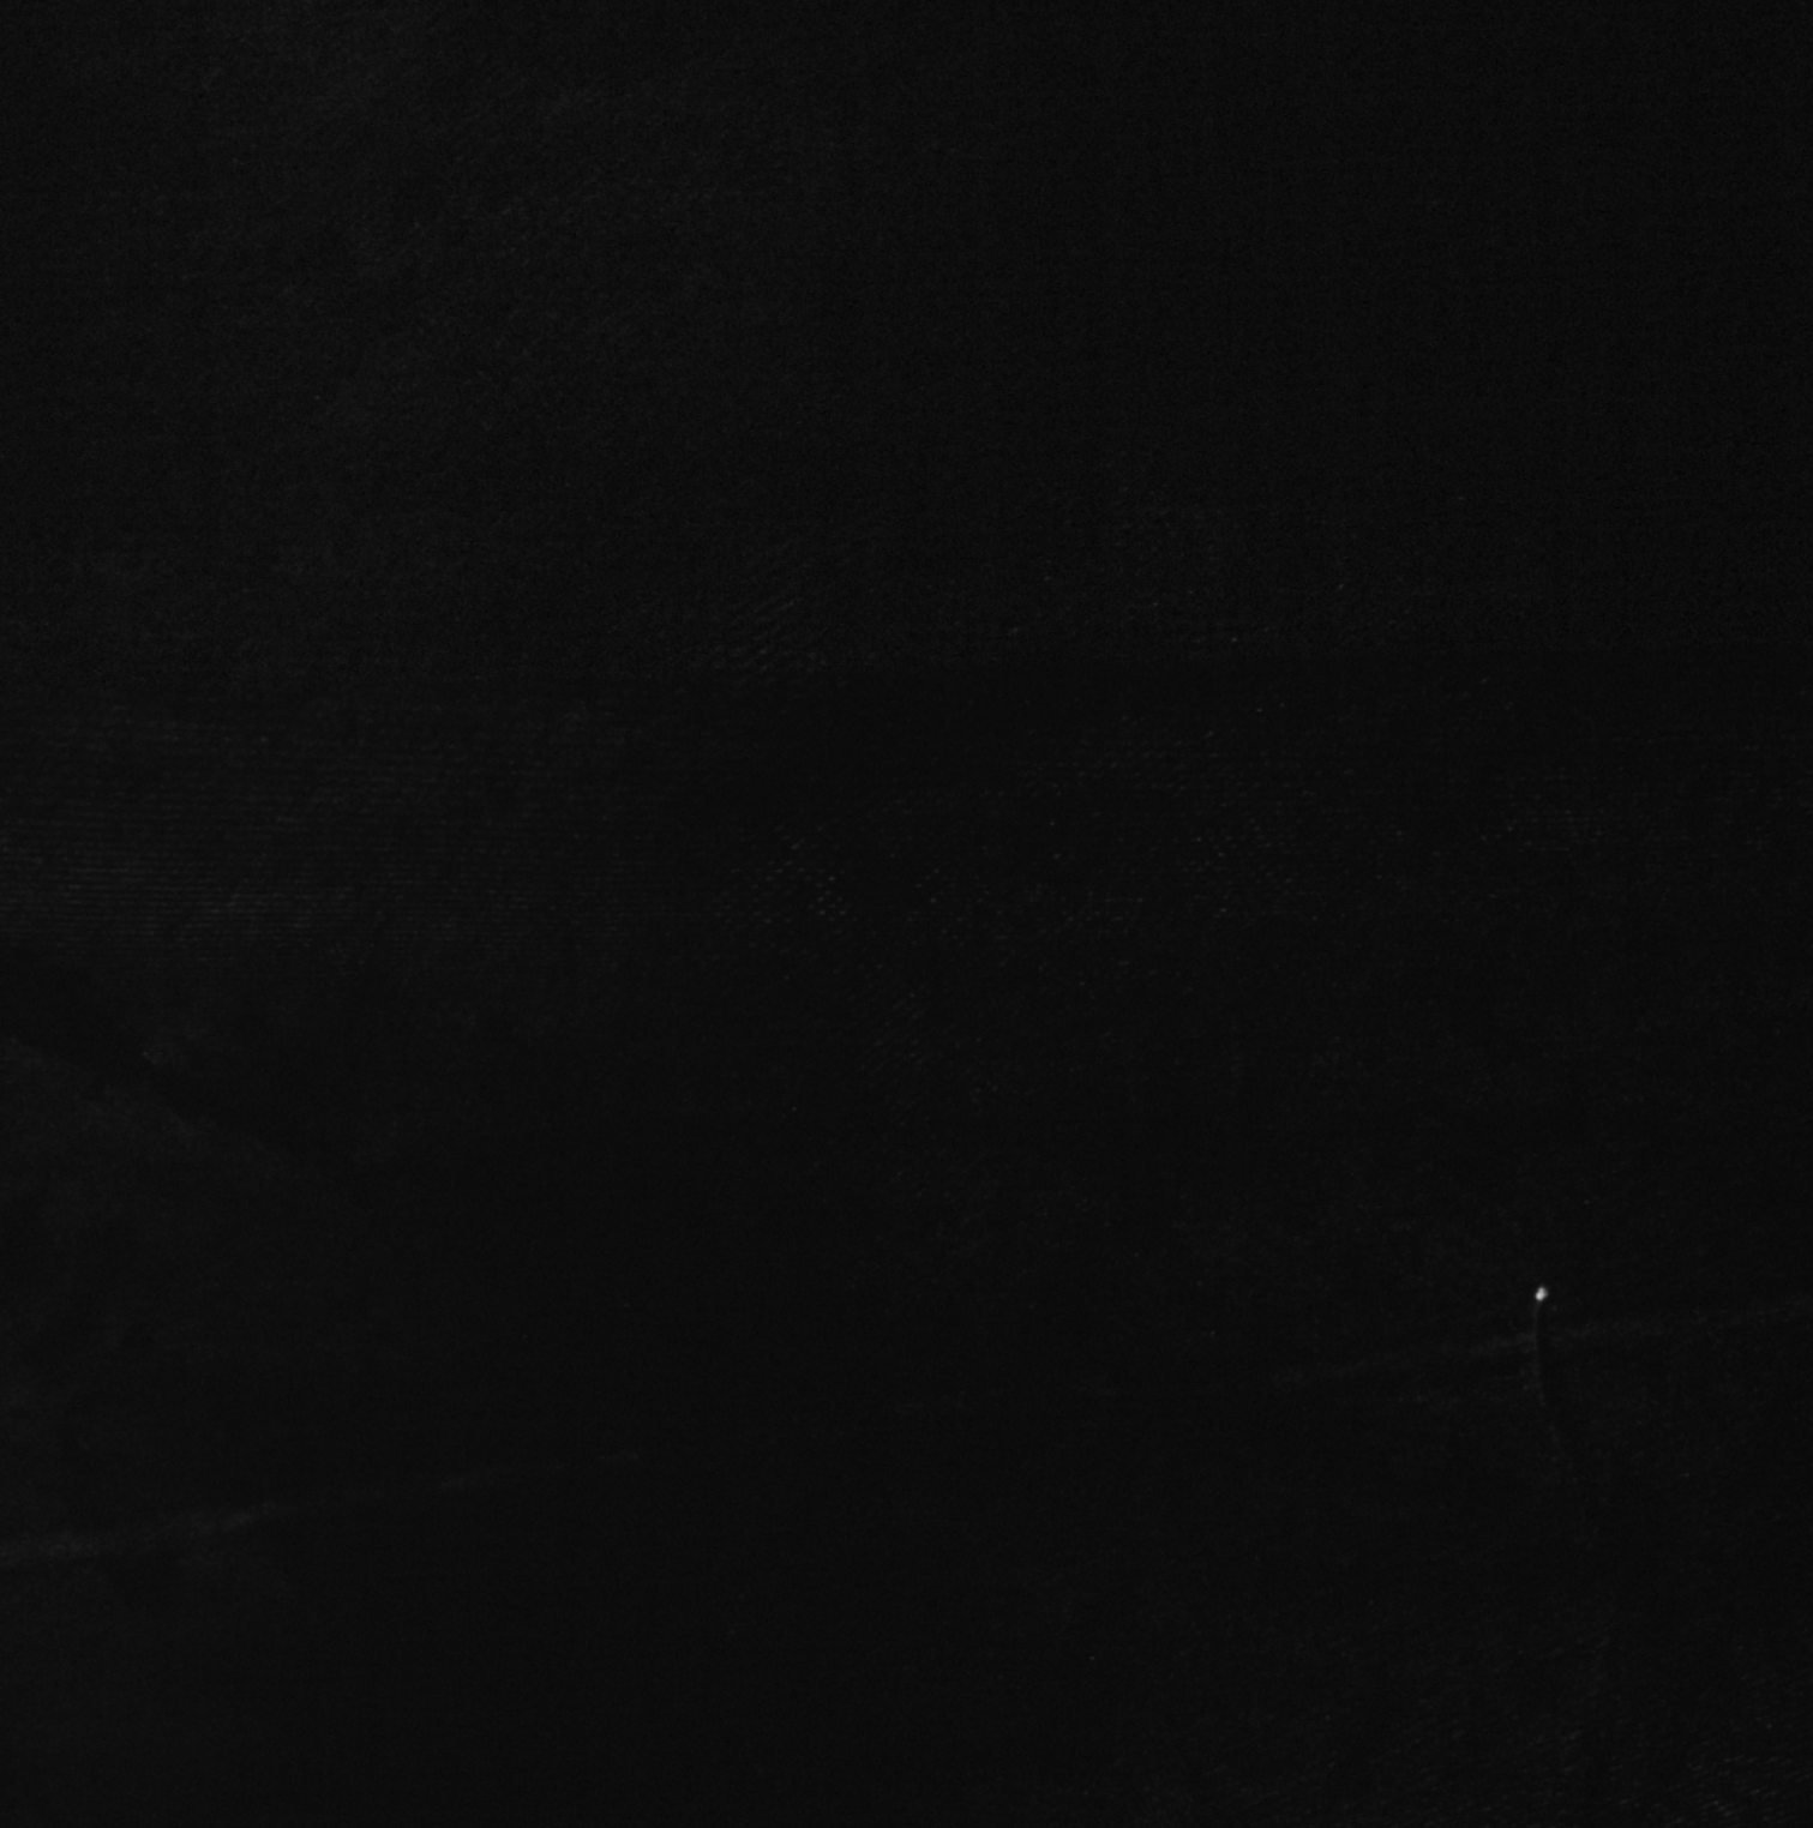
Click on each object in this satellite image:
river: (1255, 1806)

